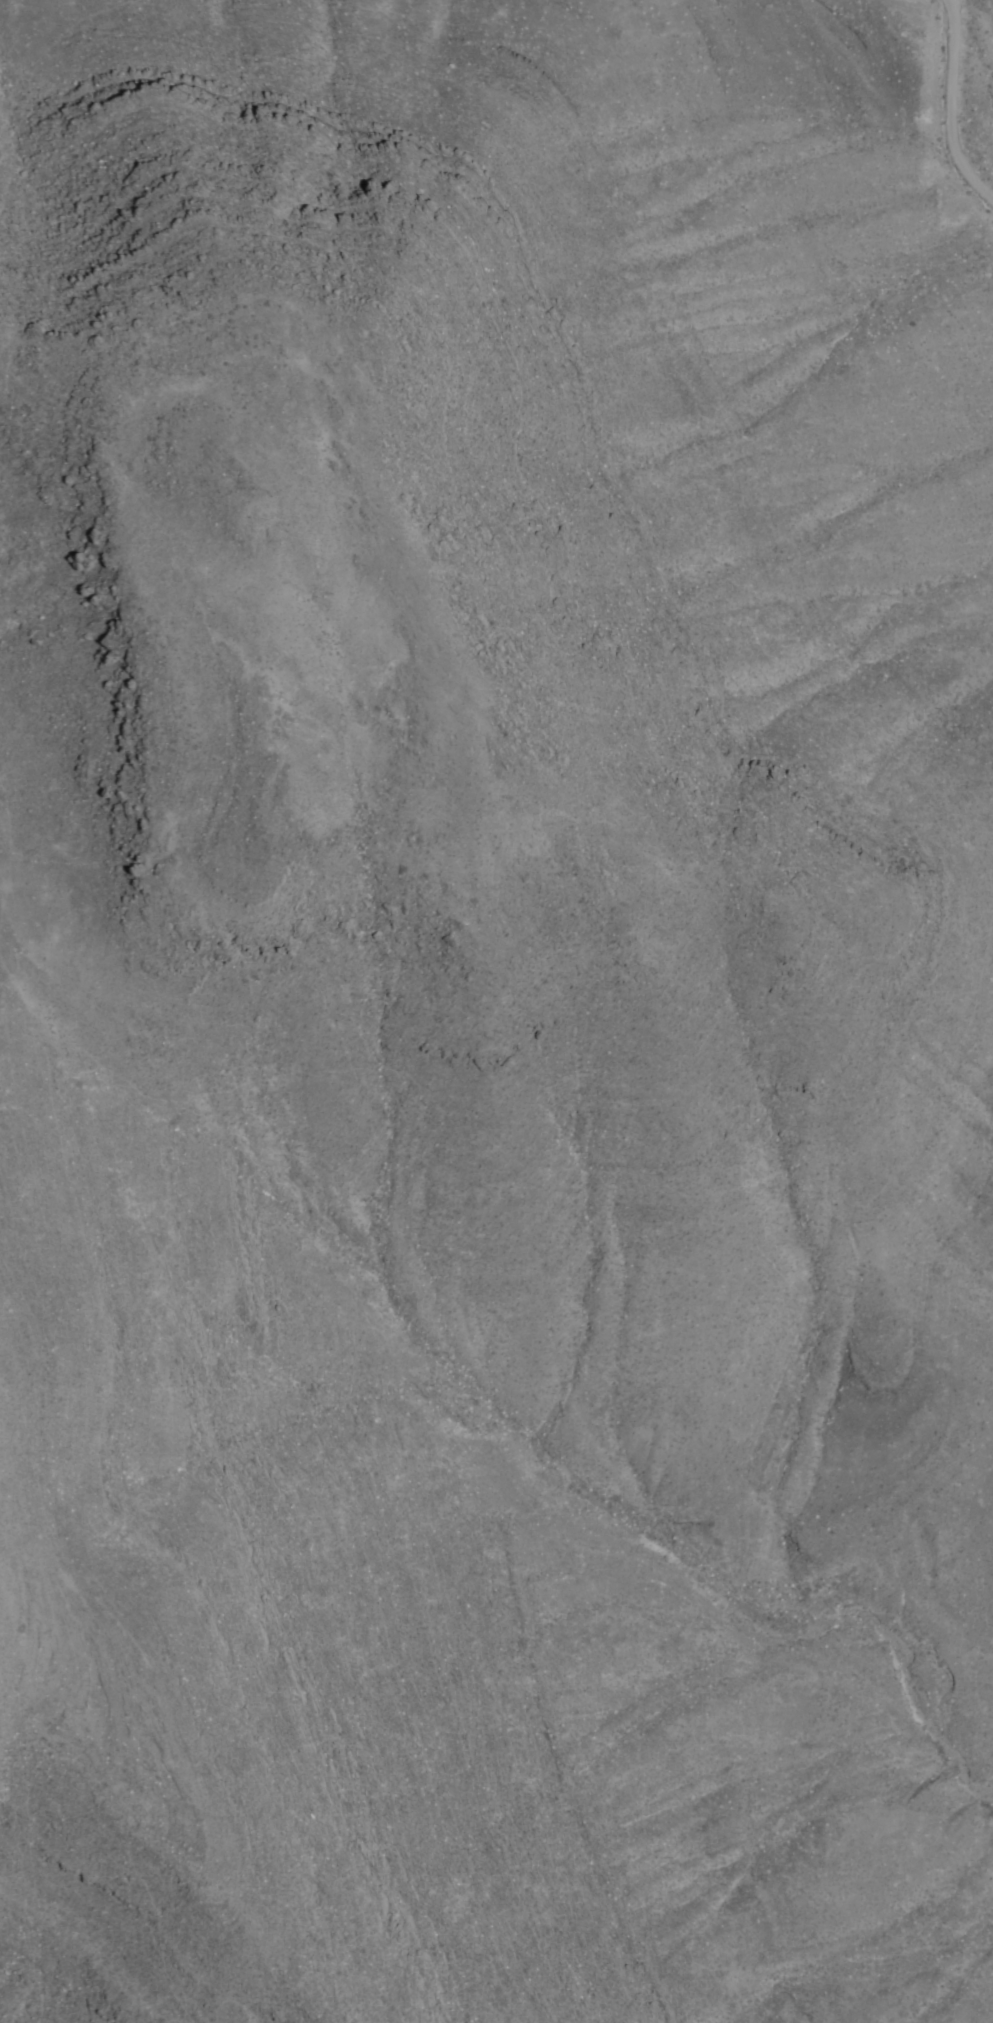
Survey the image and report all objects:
road: (944, 109)
river: (885, 291)

